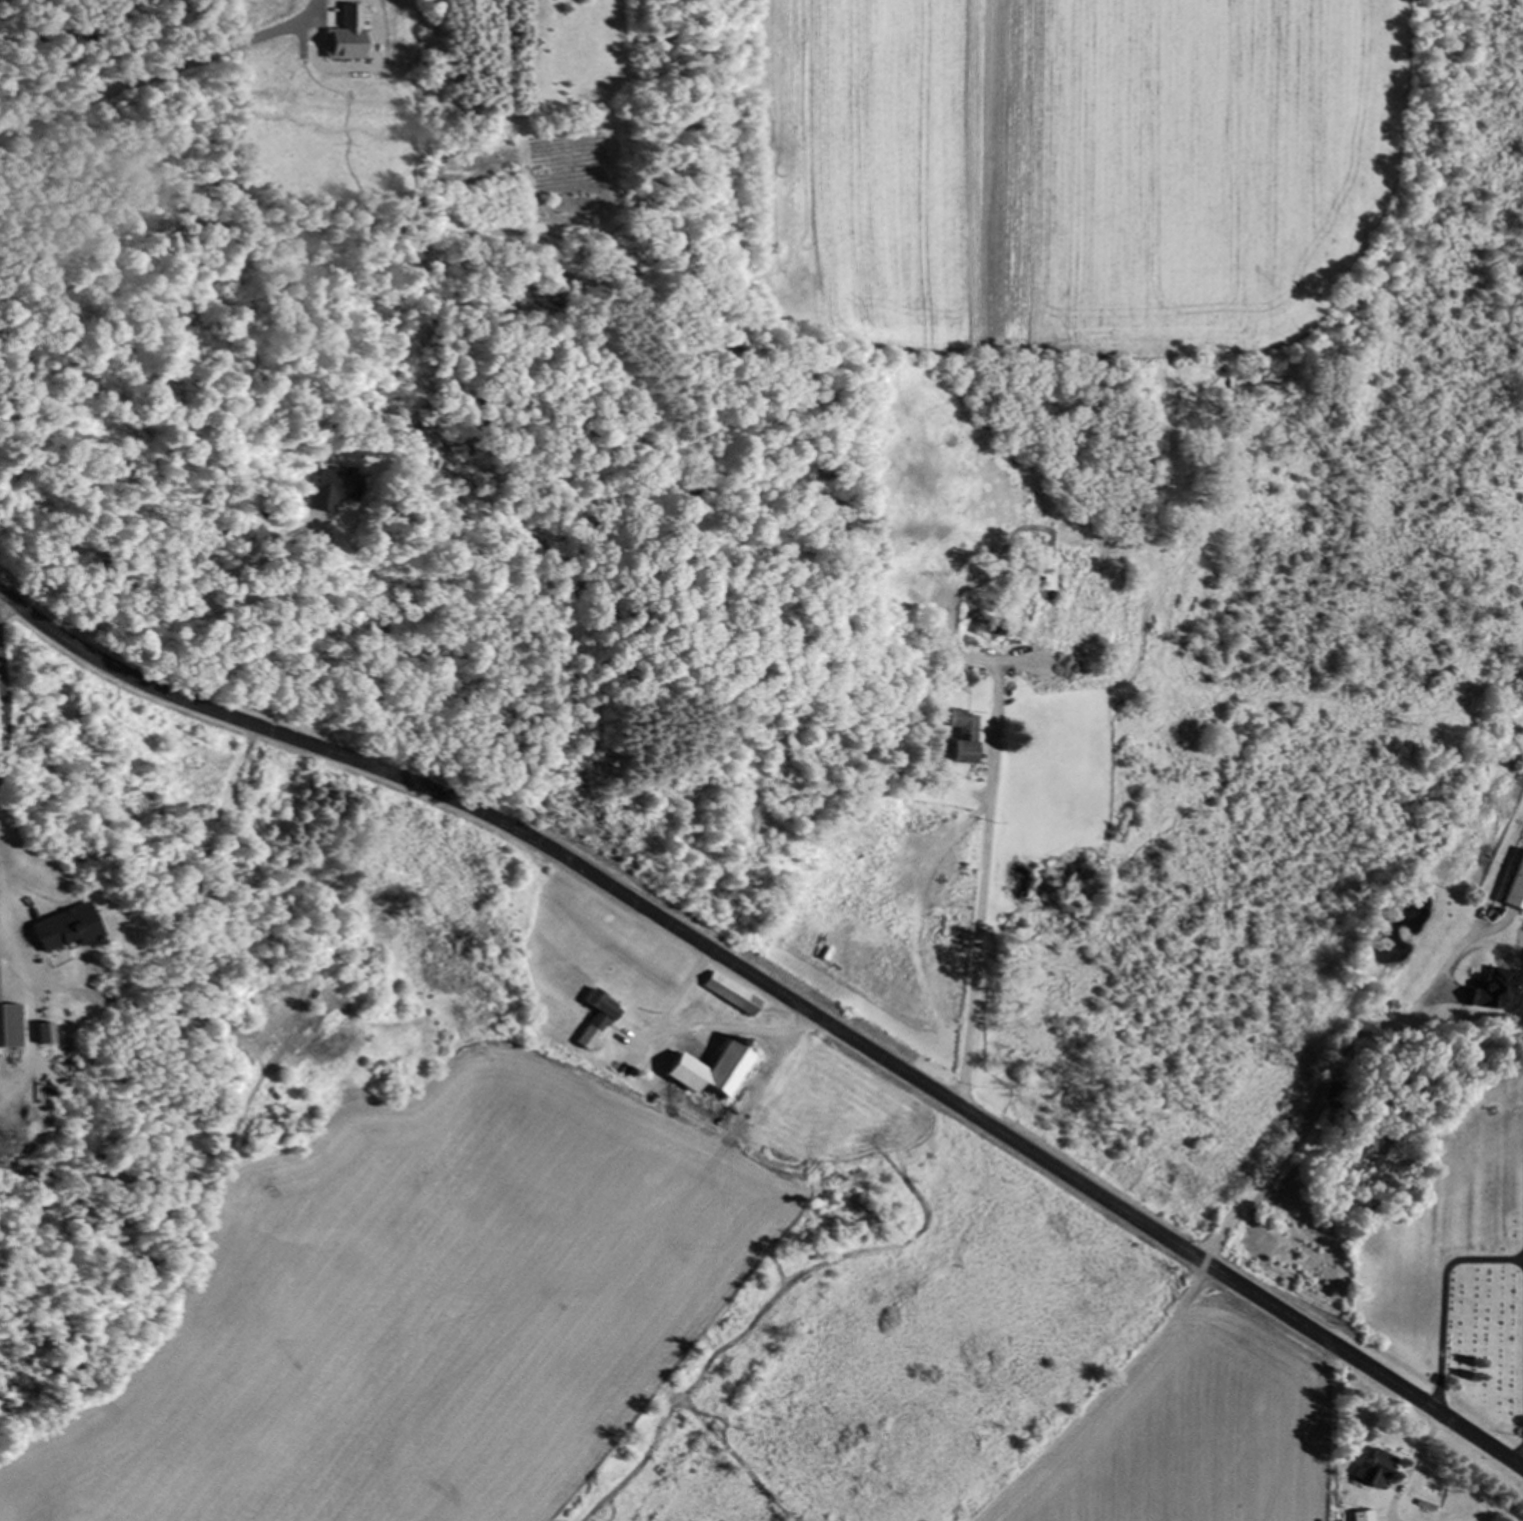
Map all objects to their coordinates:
building: (328, 489)
building: (1050, 577)
road: (284, 602)
building: (1022, 657)
road: (485, 693)
building: (963, 738)
road: (636, 767)
road: (8, 902)
road: (934, 917)
building: (57, 930)
building: (1495, 989)
road: (779, 992)
building: (729, 995)
building: (595, 1021)
building: (7, 1027)
building: (38, 1035)
building: (707, 1073)
building: (1373, 1469)
building: (1363, 1516)

